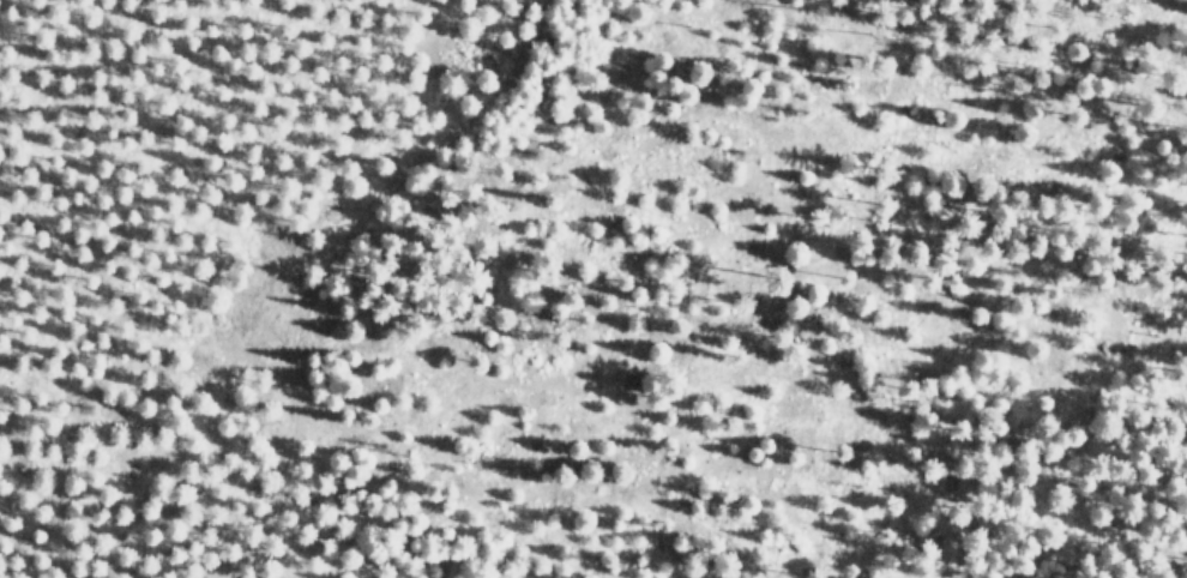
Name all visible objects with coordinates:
road: (335, 267)

